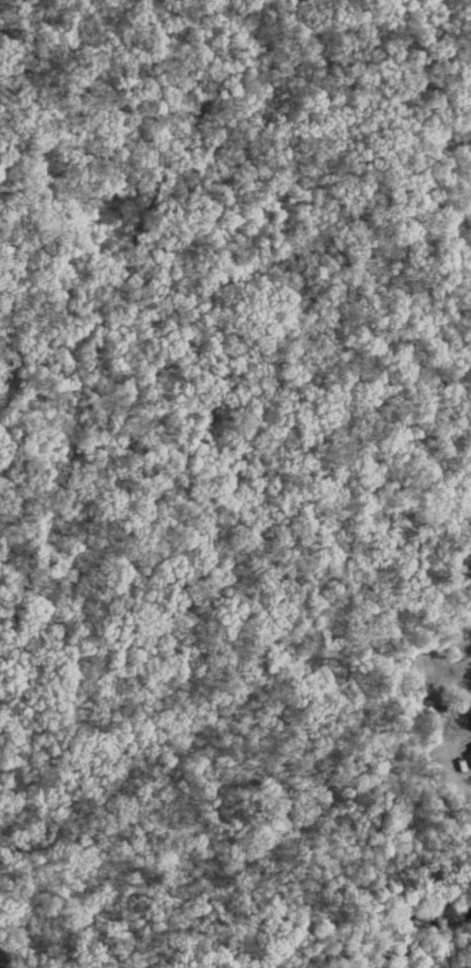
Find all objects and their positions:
road: (468, 607)
building: (469, 751)

